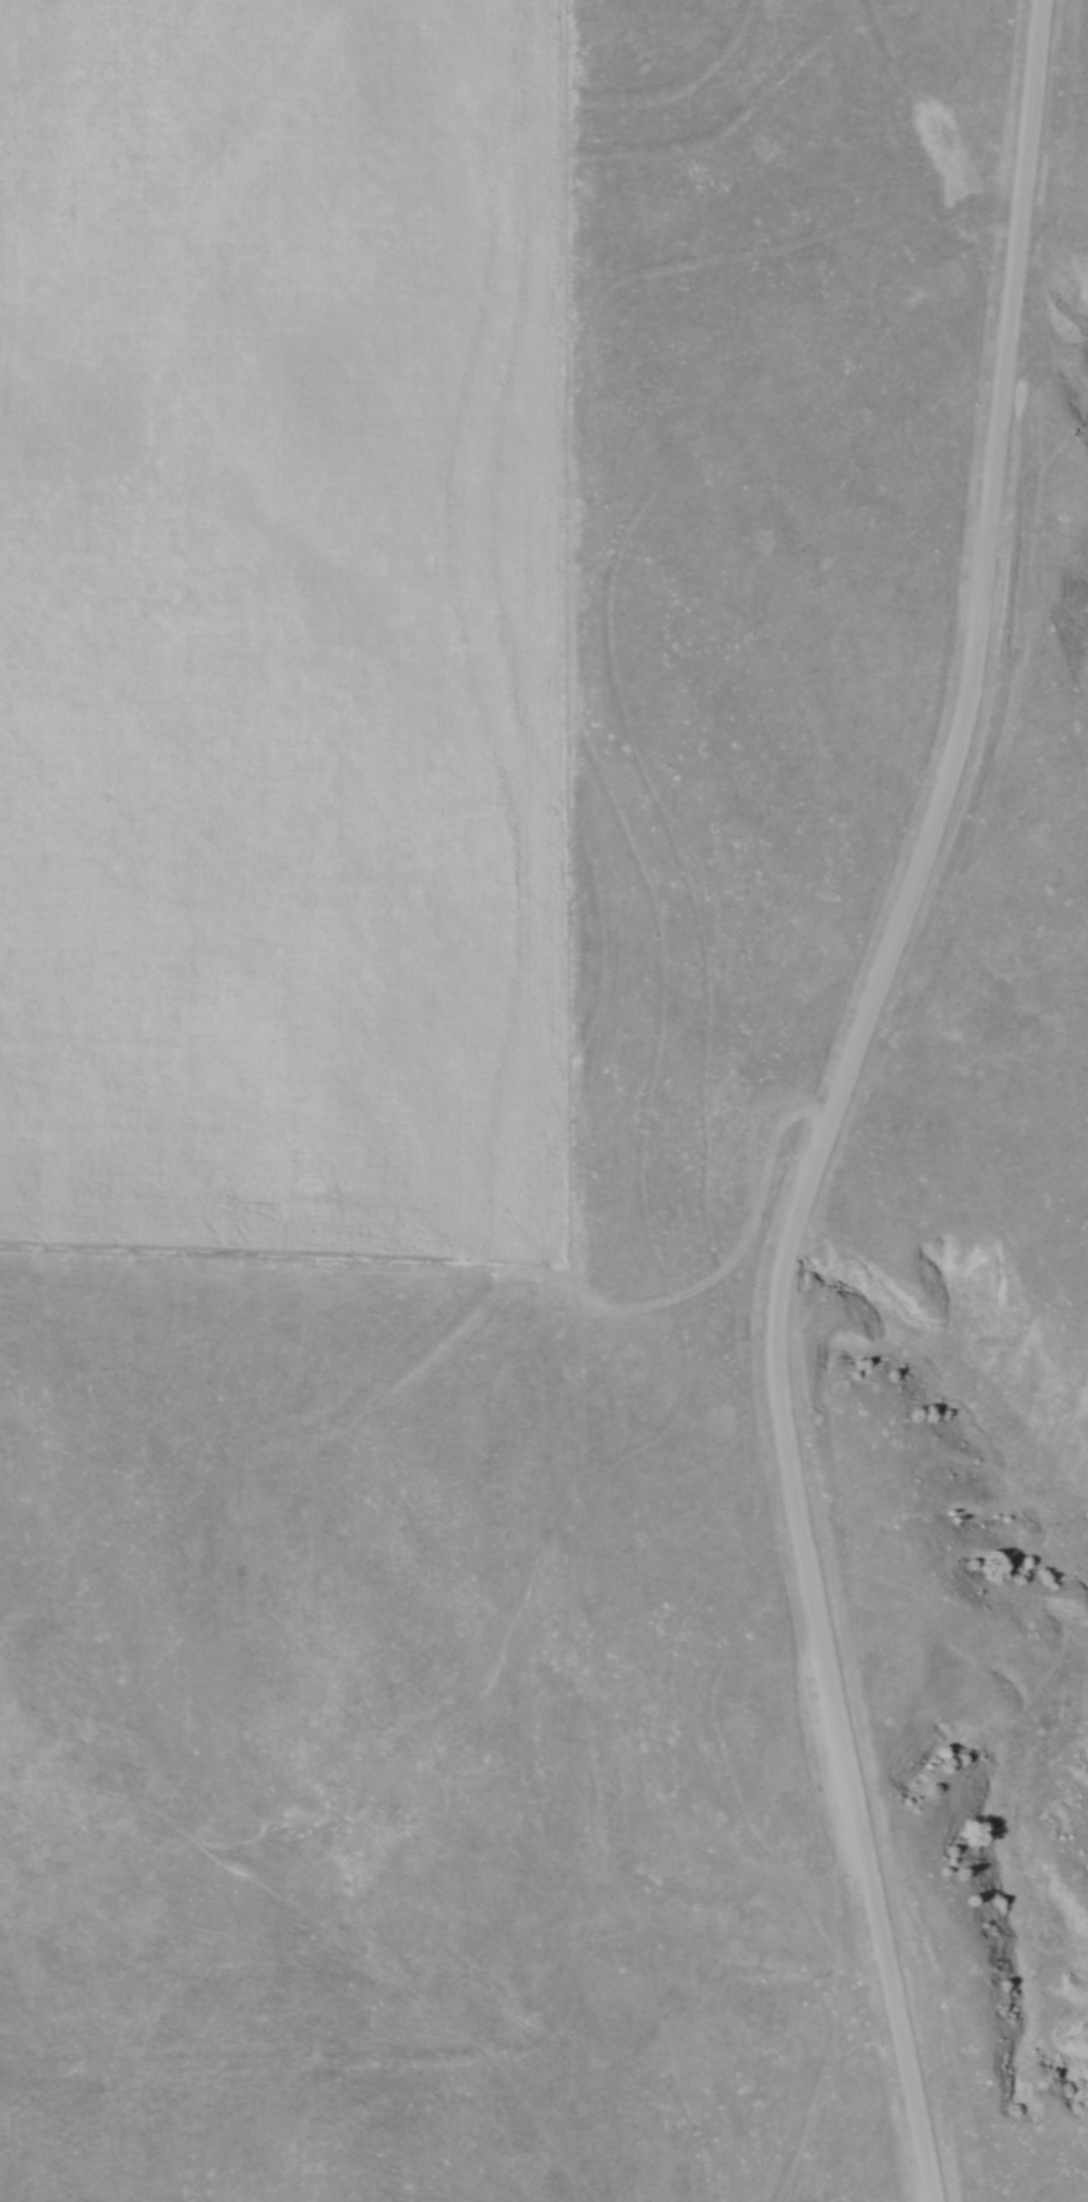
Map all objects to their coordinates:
road: (839, 1100)

